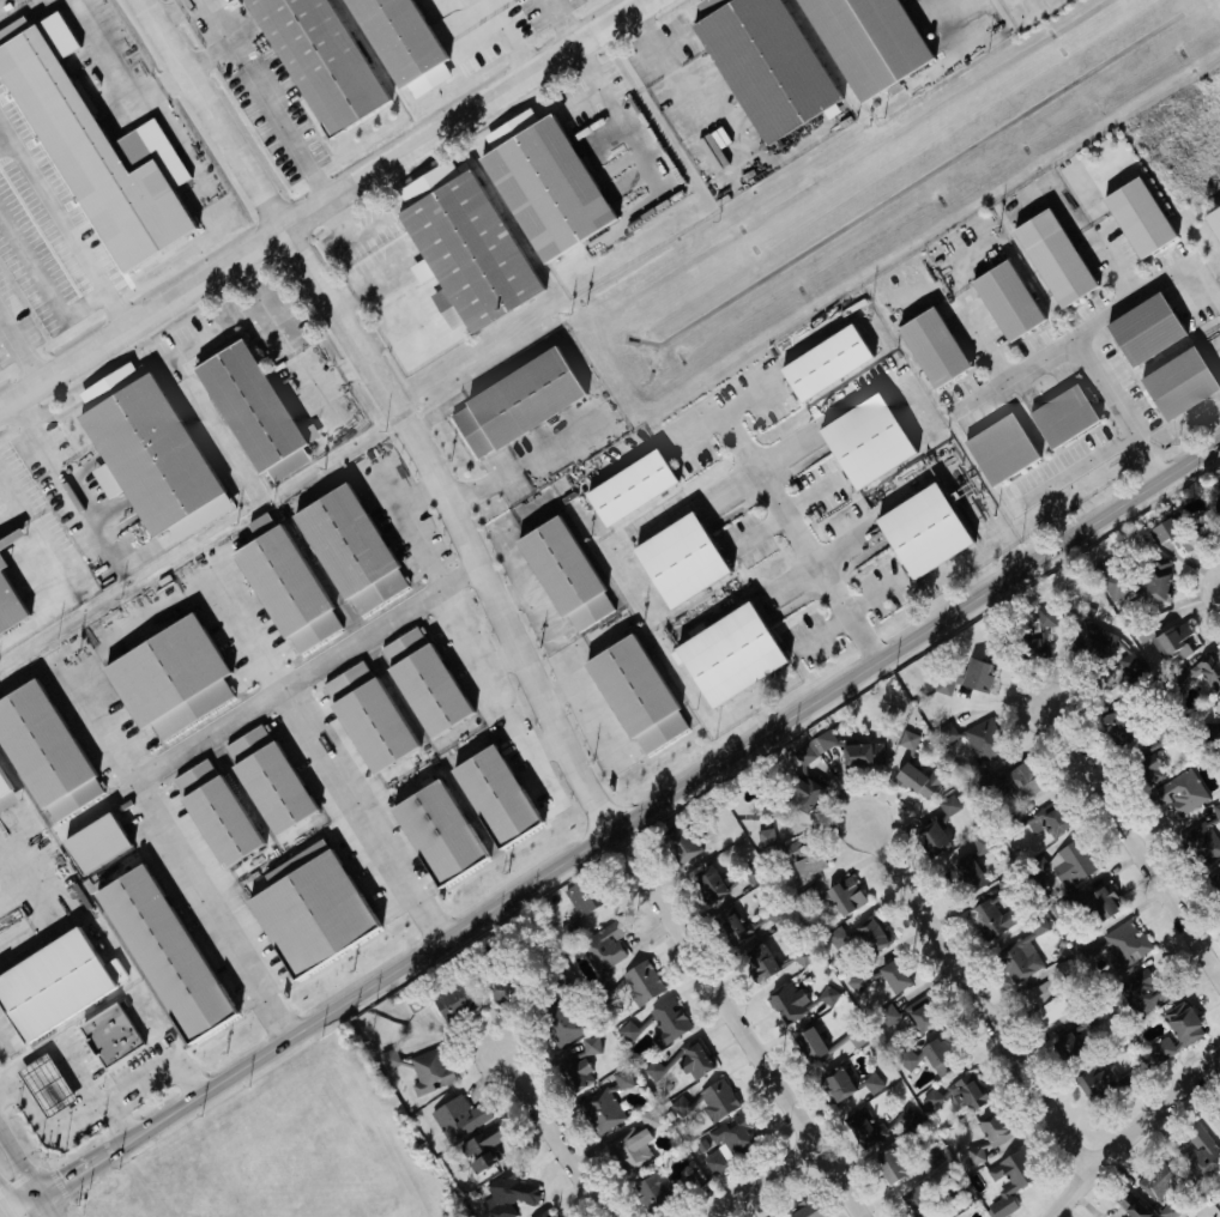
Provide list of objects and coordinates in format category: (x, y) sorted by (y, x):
road: (491, 5)
road: (167, 10)
road: (19, 11)
road: (964, 14)
road: (558, 22)
road: (236, 29)
road: (651, 38)
road: (513, 41)
building: (399, 43)
building: (863, 43)
road: (210, 49)
building: (316, 60)
building: (762, 63)
road: (159, 83)
road: (133, 96)
road: (609, 109)
road: (696, 111)
road: (291, 127)
road: (4, 137)
building: (90, 156)
building: (543, 183)
road: (322, 200)
road: (59, 207)
building: (1135, 217)
road: (334, 220)
building: (1213, 220)
building: (461, 247)
road: (1117, 264)
building: (1057, 267)
road: (43, 289)
road: (404, 292)
road: (266, 296)
building: (1004, 299)
road: (1133, 299)
road: (116, 305)
building: (1140, 329)
road: (18, 343)
road: (989, 343)
building: (930, 346)
road: (1082, 352)
building: (820, 363)
building: (1176, 383)
building: (512, 402)
road: (395, 405)
building: (249, 411)
building: (1061, 416)
road: (29, 431)
road: (557, 441)
building: (860, 441)
building: (141, 448)
building: (998, 449)
road: (1074, 466)
road: (483, 485)
building: (624, 488)
road: (419, 490)
building: (1219, 499)
road: (68, 509)
road: (415, 523)
building: (919, 531)
building: (1159, 532)
road: (797, 534)
building: (1186, 534)
building: (0, 544)
building: (344, 550)
building: (674, 561)
building: (0, 565)
road: (56, 570)
building: (558, 574)
building: (1155, 580)
building: (1116, 585)
building: (280, 587)
building: (7, 607)
road: (247, 629)
building: (1141, 631)
building: (1037, 636)
building: (1172, 642)
building: (724, 655)
road: (503, 658)
road: (302, 670)
building: (1209, 674)
building: (976, 676)
building: (164, 679)
building: (1101, 682)
building: (418, 683)
road: (495, 695)
building: (1219, 698)
building: (618, 706)
building: (1219, 713)
building: (363, 718)
building: (1119, 725)
road: (99, 737)
building: (983, 740)
road: (550, 745)
building: (801, 752)
building: (41, 753)
building: (862, 755)
building: (1148, 759)
building: (917, 780)
building: (264, 781)
building: (1022, 781)
building: (799, 792)
building: (1179, 793)
building: (5, 797)
building: (489, 797)
road: (662, 801)
building: (948, 805)
road: (363, 811)
building: (212, 813)
building: (1047, 822)
building: (433, 832)
building: (763, 837)
building: (1204, 837)
building: (931, 838)
building: (680, 842)
road: (1131, 843)
building: (89, 844)
building: (803, 856)
building: (1074, 860)
building: (1037, 865)
building: (749, 873)
building: (966, 874)
building: (707, 883)
building: (1216, 883)
road: (24, 891)
building: (831, 897)
building: (1100, 903)
building: (572, 907)
road: (210, 910)
building: (304, 910)
building: (989, 919)
building: (729, 921)
building: (837, 936)
building: (870, 936)
building: (1123, 944)
building: (602, 946)
building: (1086, 949)
building: (158, 953)
building: (760, 961)
building: (1017, 961)
building: (893, 975)
building: (640, 982)
building: (49, 985)
building: (1142, 991)
building: (495, 992)
building: (827, 995)
building: (452, 1000)
road: (978, 1000)
building: (787, 1003)
building: (1045, 1003)
building: (556, 1012)
building: (887, 1016)
building: (920, 1017)
building: (656, 1022)
road: (744, 1023)
building: (1174, 1031)
road: (5, 1035)
building: (105, 1035)
building: (809, 1043)
building: (587, 1047)
road: (64, 1048)
building: (1068, 1051)
building: (936, 1056)
building: (690, 1060)
building: (429, 1070)
building: (576, 1074)
building: (621, 1079)
building: (1091, 1080)
building: (1129, 1082)
building: (41, 1086)
building: (848, 1086)
building: (967, 1092)
building: (931, 1098)
building: (709, 1101)
road: (92, 1107)
building: (600, 1110)
building: (459, 1116)
building: (1219, 1116)
road: (120, 1118)
building: (904, 1119)
building: (863, 1127)
road: (1133, 1134)
building: (989, 1136)
road: (560, 1137)
building: (730, 1142)
building: (483, 1149)
building: (632, 1149)
building: (930, 1155)
building: (1202, 1156)
road: (20, 1163)
building: (889, 1165)
road: (71, 1177)
road: (765, 1180)
building: (1008, 1180)
building: (687, 1185)
building: (1161, 1188)
building: (652, 1191)
building: (507, 1193)
traffic signals: (41, 1197)
building: (1218, 1198)
building: (934, 1200)
road: (5, 1205)
road: (25, 1205)
road: (47, 1206)
building: (1130, 1206)
building: (804, 1210)
traffic signals: (11, 1213)
building: (544, 1213)
road: (11, 1215)

